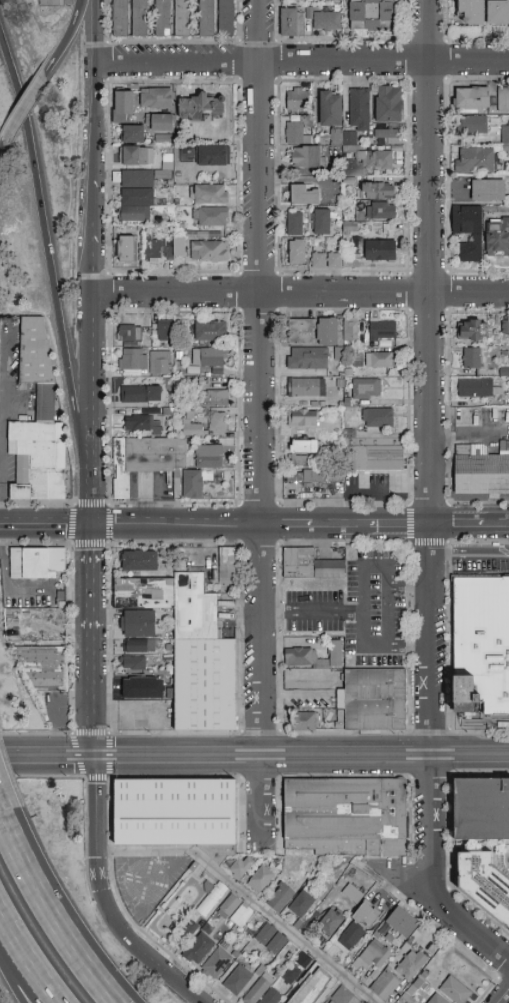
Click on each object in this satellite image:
building: (50, 3)
building: (472, 11)
building: (498, 13)
building: (370, 14)
building: (139, 17)
building: (162, 17)
building: (182, 17)
building: (207, 17)
building: (226, 17)
building: (120, 18)
building: (326, 21)
building: (292, 22)
road: (69, 37)
road: (302, 64)
building: (156, 98)
building: (297, 99)
building: (473, 99)
building: (503, 99)
building: (389, 105)
road: (24, 107)
building: (123, 107)
building: (331, 108)
road: (95, 110)
building: (204, 110)
building: (359, 110)
building: (162, 123)
building: (472, 125)
building: (294, 132)
building: (133, 134)
building: (387, 134)
building: (506, 135)
building: (167, 136)
building: (342, 141)
road: (1, 145)
building: (184, 152)
building: (137, 156)
building: (213, 156)
building: (306, 157)
building: (376, 159)
building: (474, 160)
building: (453, 184)
building: (377, 191)
building: (488, 191)
building: (210, 194)
building: (136, 195)
building: (303, 195)
building: (380, 211)
building: (212, 217)
building: (322, 221)
building: (294, 223)
building: (352, 228)
building: (468, 231)
building: (498, 237)
building: (183, 245)
building: (357, 245)
road: (50, 248)
building: (125, 249)
building: (162, 249)
building: (380, 250)
building: (209, 251)
building: (296, 252)
road: (95, 260)
building: (319, 261)
building: (334, 261)
road: (301, 295)
building: (506, 327)
building: (351, 329)
building: (473, 330)
building: (210, 331)
building: (301, 331)
building: (328, 331)
building: (165, 333)
building: (132, 334)
building: (382, 334)
building: (207, 358)
building: (307, 358)
building: (471, 358)
building: (133, 359)
building: (379, 360)
building: (159, 363)
road: (261, 378)
road: (433, 378)
road: (94, 387)
building: (306, 387)
building: (476, 388)
building: (366, 389)
building: (140, 394)
building: (214, 398)
building: (378, 418)
building: (303, 419)
building: (38, 422)
building: (196, 422)
building: (141, 424)
building: (206, 426)
building: (305, 446)
building: (208, 456)
road: (2, 457)
building: (376, 458)
building: (300, 460)
building: (151, 464)
building: (481, 470)
building: (297, 475)
building: (313, 476)
road: (93, 500)
road: (46, 525)
traffic signals: (93, 525)
road: (177, 526)
road: (348, 526)
road: (457, 526)
road: (495, 526)
road: (471, 552)
building: (40, 560)
building: (139, 561)
building: (310, 565)
building: (227, 566)
road: (362, 589)
building: (64, 594)
building: (173, 602)
road: (312, 608)
building: (138, 624)
road: (94, 641)
building: (477, 644)
building: (139, 646)
building: (169, 647)
building: (335, 653)
building: (304, 658)
building: (45, 662)
building: (133, 663)
building: (296, 680)
building: (205, 685)
building: (439, 687)
building: (142, 688)
building: (170, 694)
building: (375, 699)
building: (340, 700)
building: (319, 703)
building: (173, 717)
building: (339, 720)
building: (305, 721)
railway: (254, 752)
road: (131, 756)
road: (349, 756)
road: (472, 756)
traffic signals: (96, 757)
railway: (254, 760)
road: (263, 803)
road: (97, 804)
building: (481, 809)
road: (3, 810)
building: (177, 814)
building: (346, 816)
road: (434, 825)
building: (240, 868)
building: (196, 870)
building: (260, 879)
building: (484, 884)
building: (353, 894)
building: (211, 897)
road: (250, 897)
building: (280, 898)
building: (301, 904)
building: (229, 907)
building: (367, 915)
road: (50, 916)
building: (241, 916)
road: (0, 921)
road: (115, 922)
building: (331, 922)
building: (402, 923)
building: (298, 925)
building: (191, 928)
road: (472, 928)
building: (265, 934)
building: (352, 936)
building: (376, 936)
building: (389, 938)
building: (276, 944)
building: (200, 946)
building: (236, 954)
building: (374, 955)
building: (303, 960)
road: (16, 963)
building: (216, 963)
road: (28, 964)
building: (411, 965)
building: (260, 971)
building: (291, 975)
building: (424, 975)
building: (238, 980)
building: (385, 984)
building: (313, 986)
building: (415, 987)
road: (188, 988)
building: (258, 989)
building: (454, 990)
building: (342, 995)
building: (271, 996)
building: (408, 998)
road: (505, 998)
building: (437, 999)
building: (332, 1002)

